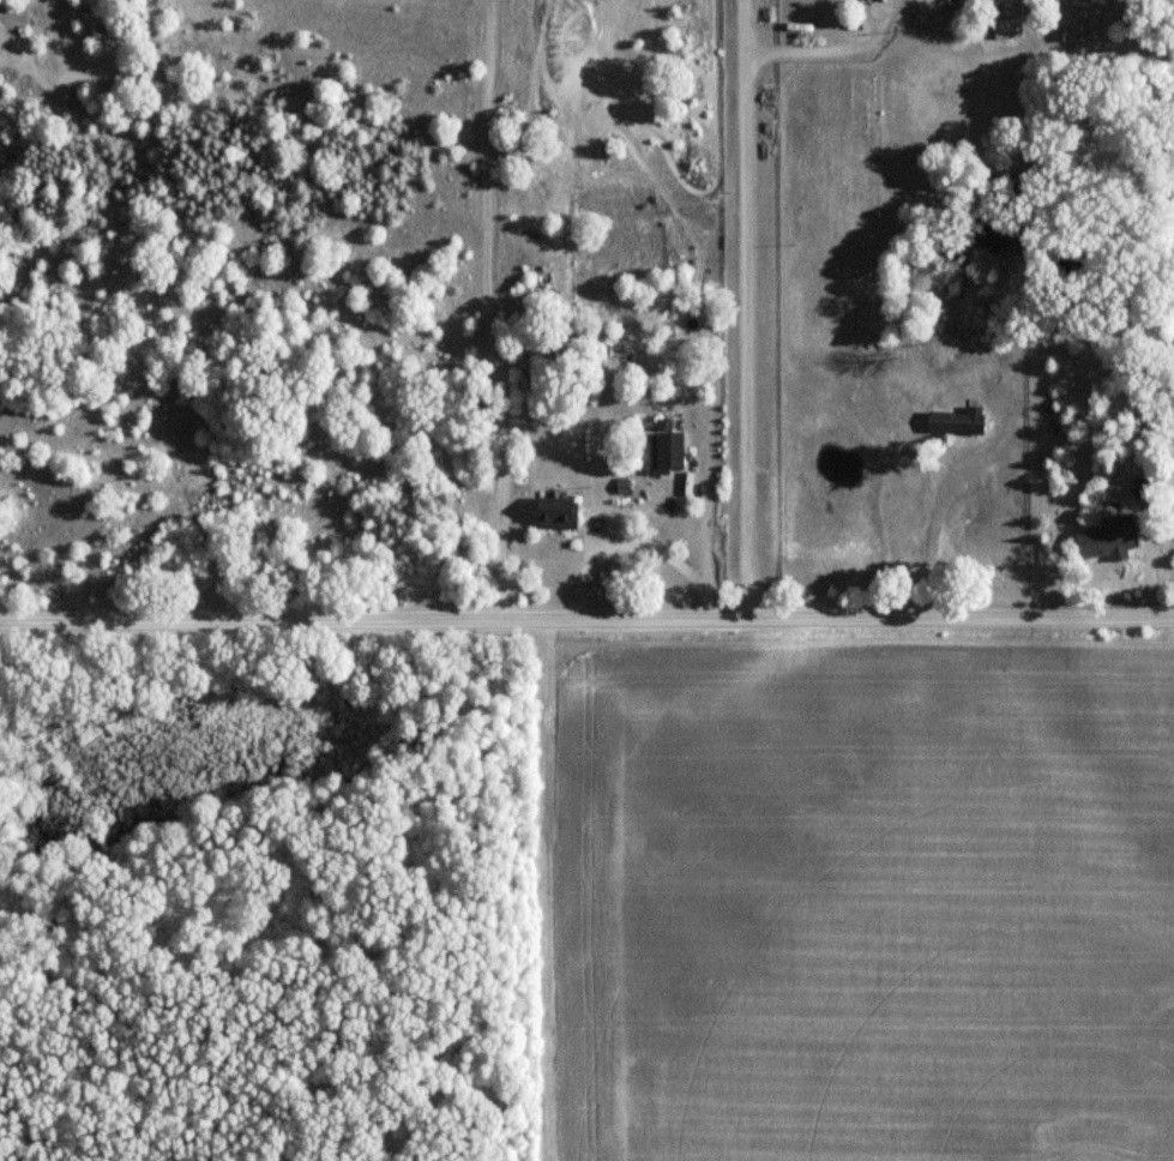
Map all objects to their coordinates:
building: (1074, 23)
building: (1011, 29)
road: (832, 52)
road: (746, 309)
building: (955, 420)
building: (661, 446)
building: (1142, 486)
building: (550, 512)
road: (709, 513)
road: (934, 521)
building: (1106, 537)
road: (638, 547)
road: (1148, 565)
road: (586, 620)
road: (537, 891)

